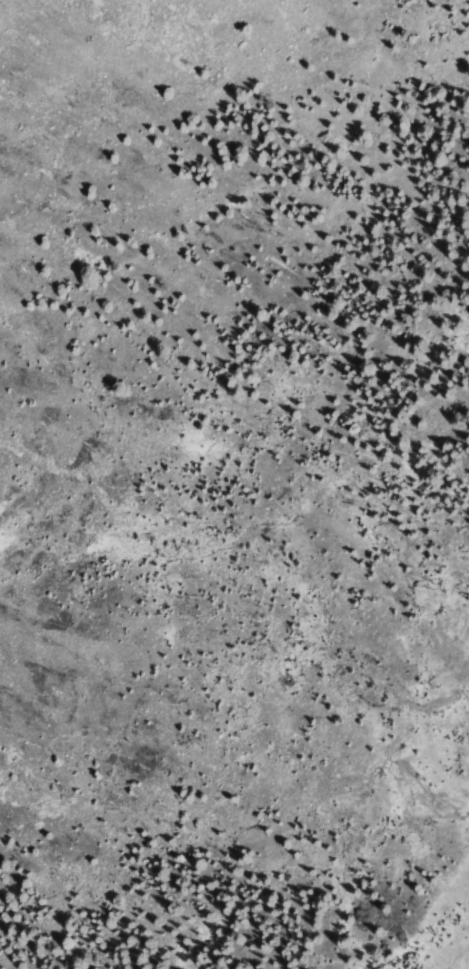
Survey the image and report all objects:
road: (459, 954)

